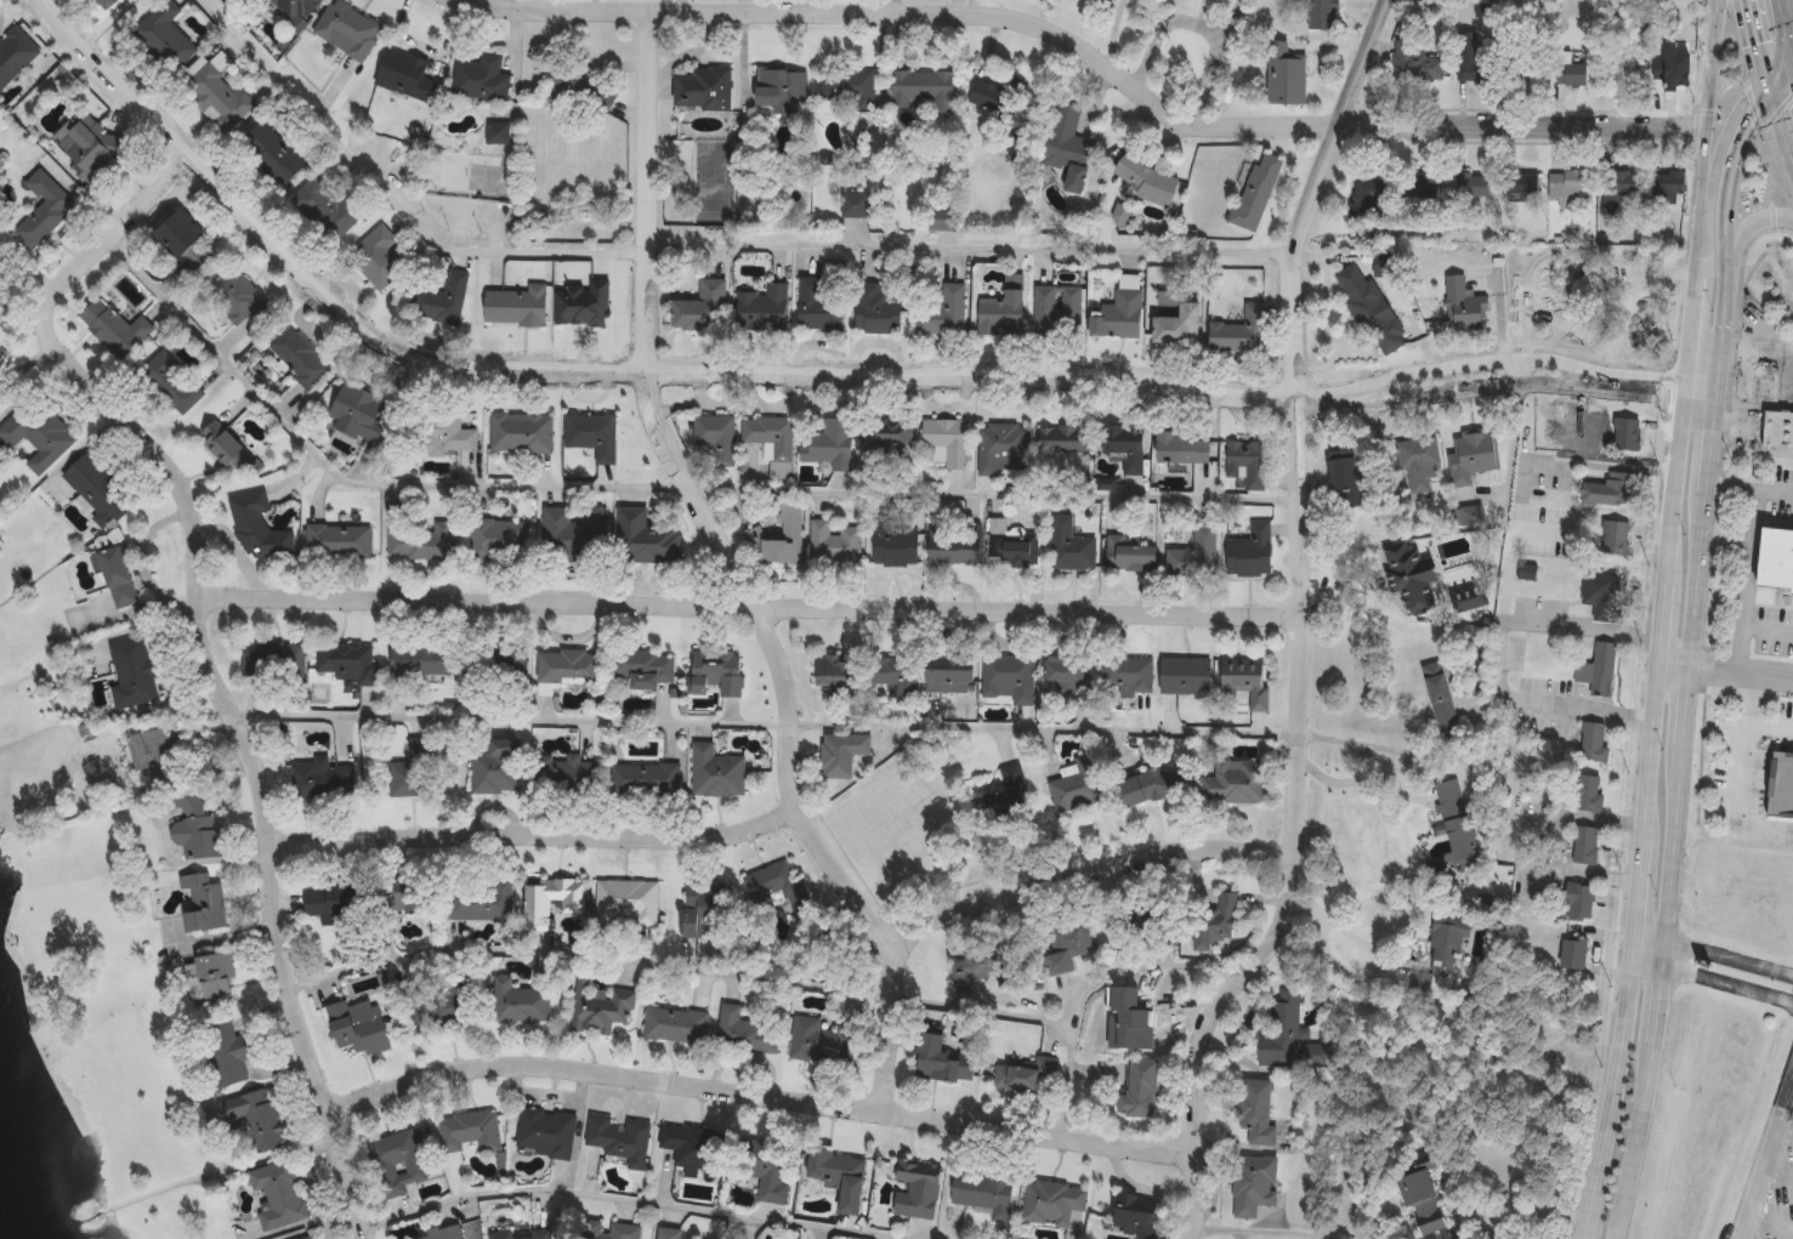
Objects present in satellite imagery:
building: (1108, 0)
building: (106, 2)
road: (1787, 2)
road: (1743, 4)
building: (295, 7)
building: (1321, 15)
road: (102, 22)
road: (1787, 25)
road: (1197, 27)
building: (348, 29)
building: (164, 35)
road: (1753, 45)
road: (1089, 52)
building: (15, 53)
building: (1471, 61)
building: (1417, 64)
road: (1777, 69)
building: (1572, 73)
building: (404, 75)
building: (1532, 75)
building: (1284, 76)
road: (1780, 78)
building: (480, 79)
road: (112, 81)
traffic signals: (1763, 83)
building: (845, 86)
building: (919, 87)
building: (703, 90)
building: (781, 90)
road: (1764, 90)
building: (581, 95)
building: (216, 96)
traffic signals: (1766, 97)
road: (1744, 98)
road: (1706, 109)
road: (1749, 126)
road: (1778, 136)
building: (1067, 148)
building: (90, 150)
building: (271, 155)
building: (1146, 181)
building: (1524, 184)
building: (1476, 188)
building: (1568, 188)
building: (1669, 188)
building: (1622, 191)
building: (1256, 192)
building: (1372, 201)
road: (391, 203)
building: (855, 205)
building: (323, 209)
building: (42, 210)
road: (1727, 211)
building: (941, 223)
road: (1748, 225)
building: (185, 241)
road: (972, 249)
building: (376, 258)
building: (441, 301)
building: (240, 302)
building: (515, 307)
building: (817, 307)
building: (1639, 307)
building: (700, 308)
building: (764, 308)
building: (940, 309)
building: (1057, 309)
building: (1466, 309)
building: (876, 311)
building: (1372, 312)
building: (1000, 314)
building: (1118, 317)
road: (1721, 322)
building: (1178, 326)
building: (114, 328)
building: (1241, 331)
building: (297, 357)
road: (1505, 358)
building: (1765, 358)
road: (1754, 366)
road: (703, 370)
building: (171, 383)
road: (1503, 387)
road: (1714, 388)
building: (358, 414)
building: (1776, 427)
building: (520, 433)
building: (36, 434)
building: (448, 434)
building: (591, 434)
building: (885, 434)
building: (1627, 436)
building: (715, 437)
building: (946, 441)
building: (1062, 441)
building: (772, 444)
building: (829, 445)
road: (1709, 447)
building: (225, 448)
building: (1124, 448)
building: (1000, 449)
building: (1182, 450)
building: (1474, 459)
building: (1422, 464)
building: (1247, 465)
road: (652, 483)
building: (1351, 484)
road: (1749, 489)
building: (1611, 490)
building: (97, 491)
building: (257, 529)
building: (566, 536)
building: (784, 538)
building: (645, 539)
building: (495, 540)
building: (1615, 540)
building: (339, 542)
building: (420, 544)
building: (834, 544)
building: (893, 545)
building: (953, 545)
building: (1069, 547)
building: (1014, 551)
building: (1250, 553)
building: (1129, 555)
building: (1195, 555)
building: (1777, 562)
road: (742, 573)
road: (1509, 576)
road: (1696, 576)
building: (117, 578)
road: (1737, 578)
building: (1412, 579)
building: (1601, 596)
road: (749, 604)
road: (1299, 625)
road: (1583, 626)
road: (1761, 632)
road: (208, 650)
road: (1674, 659)
building: (456, 660)
building: (344, 661)
building: (273, 663)
road: (1485, 663)
building: (567, 666)
building: (636, 667)
building: (1599, 670)
road: (1741, 670)
building: (131, 671)
building: (834, 672)
building: (1127, 672)
building: (714, 674)
building: (947, 675)
building: (1067, 675)
building: (1184, 675)
building: (891, 676)
building: (1006, 676)
road: (1657, 678)
building: (1244, 681)
building: (543, 690)
building: (546, 693)
building: (1441, 695)
road: (1685, 704)
road: (1753, 716)
road: (767, 722)
building: (1594, 741)
building: (839, 752)
building: (153, 756)
building: (494, 766)
building: (562, 772)
building: (715, 772)
building: (405, 777)
building: (319, 778)
building: (642, 778)
building: (1232, 780)
building: (1074, 784)
building: (1151, 784)
building: (1781, 786)
road: (1352, 789)
building: (1589, 792)
building: (1005, 794)
road: (1736, 795)
building: (1459, 823)
building: (193, 825)
road: (534, 837)
road: (1672, 843)
road: (1533, 845)
building: (1585, 845)
road: (1084, 871)
building: (774, 885)
building: (330, 898)
building: (550, 899)
building: (625, 900)
building: (1579, 900)
building: (199, 902)
building: (404, 902)
building: (471, 902)
building: (702, 903)
building: (1214, 923)
road: (1337, 938)
road: (1649, 940)
building: (1066, 943)
building: (1449, 943)
building: (1574, 954)
road: (1661, 955)
road: (1727, 956)
building: (980, 964)
road: (1147, 966)
road: (1646, 967)
building: (210, 973)
road: (736, 976)
road: (1727, 983)
building: (517, 1001)
building: (436, 1002)
road: (1656, 1005)
building: (598, 1007)
building: (1130, 1012)
building: (674, 1024)
building: (354, 1027)
building: (1281, 1028)
building: (744, 1031)
building: (819, 1040)
building: (227, 1052)
building: (940, 1059)
road: (1792, 1086)
building: (1137, 1089)
road: (755, 1092)
building: (1255, 1110)
building: (256, 1118)
building: (469, 1130)
road: (1785, 1130)
building: (544, 1132)
building: (618, 1137)
road: (1632, 1139)
building: (690, 1144)
road: (1765, 1159)
building: (397, 1164)
building: (759, 1166)
building: (838, 1176)
road: (1777, 1178)
building: (1250, 1183)
building: (915, 1188)
building: (981, 1190)
building: (278, 1194)
building: (1050, 1200)
road: (637, 1203)
building: (1425, 1203)
building: (1134, 1214)
road: (1770, 1220)
road: (1254, 1227)
building: (606, 1229)
building: (666, 1232)
building: (439, 1234)
building: (520, 1234)
building: (308, 1237)
building: (316, 1238)

